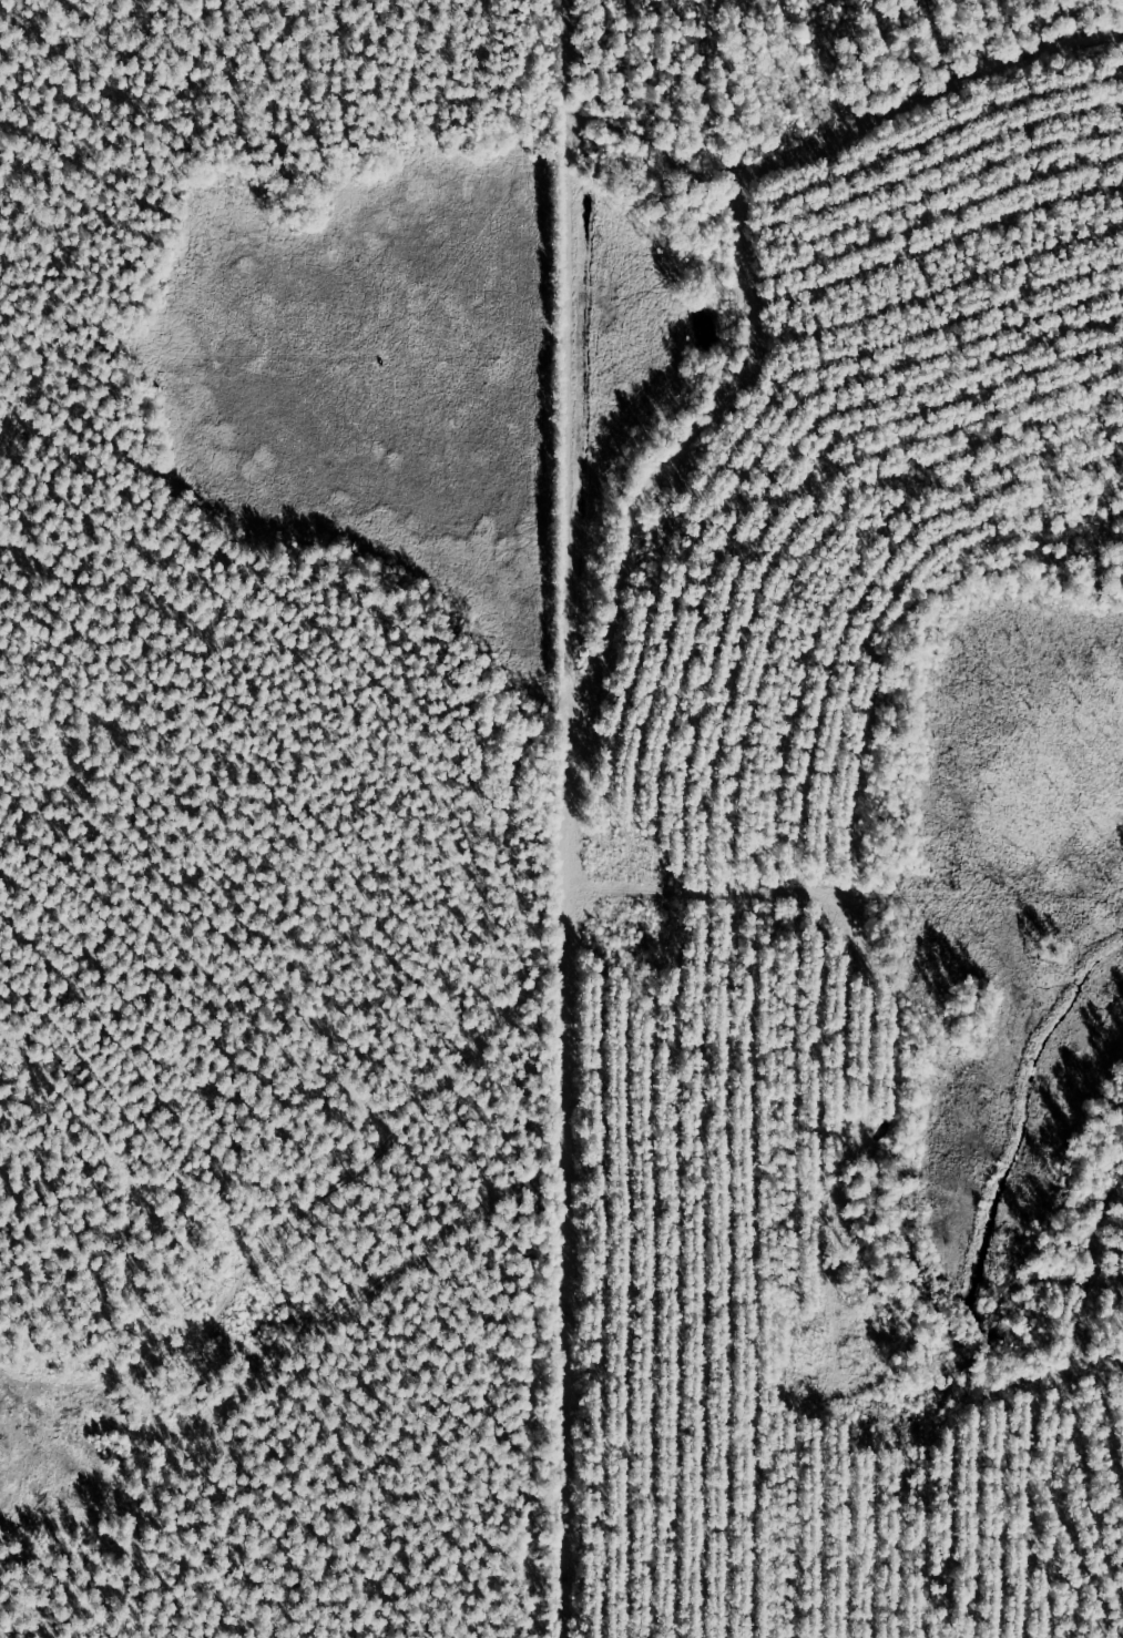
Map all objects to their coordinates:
road: (758, 129)
road: (578, 997)

